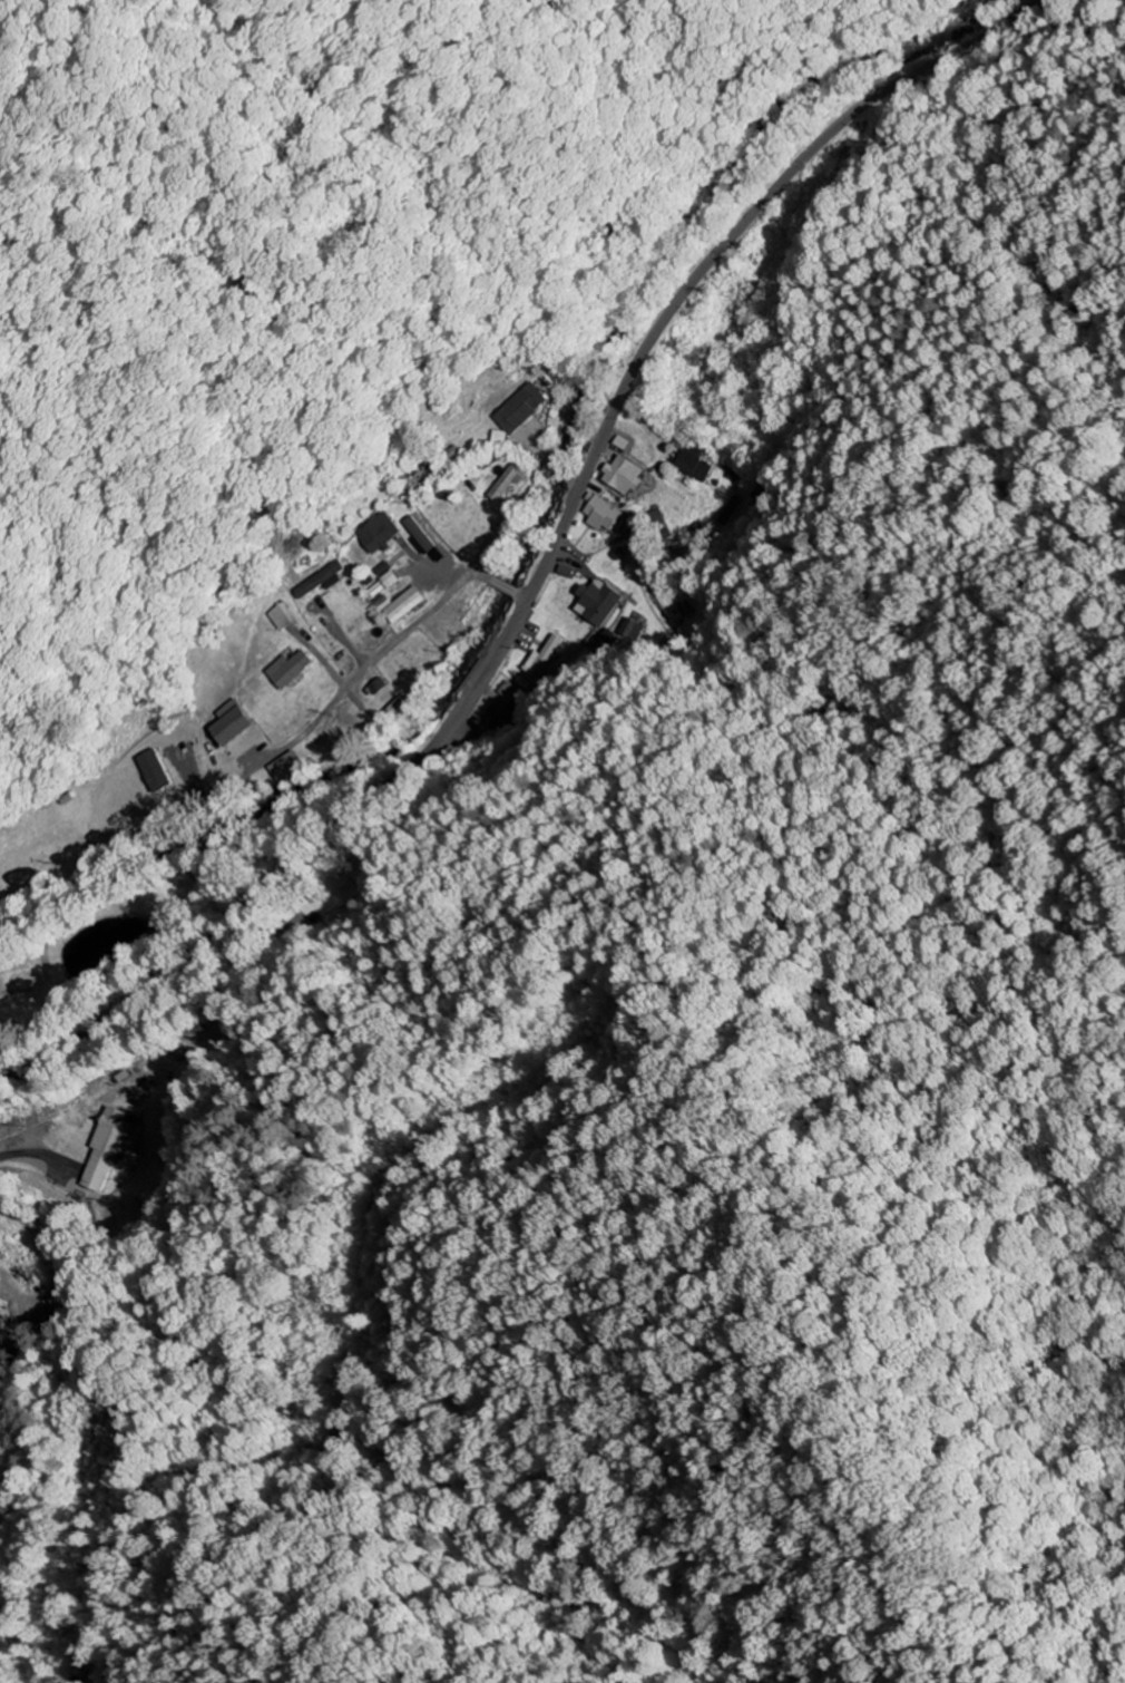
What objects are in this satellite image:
building: (515, 409)
building: (686, 464)
building: (617, 476)
building: (500, 483)
building: (757, 494)
building: (596, 514)
building: (371, 534)
building: (694, 534)
building: (412, 537)
road: (354, 541)
road: (541, 558)
building: (381, 576)
building: (312, 581)
building: (593, 604)
building: (400, 606)
building: (272, 619)
road: (405, 626)
building: (627, 631)
building: (534, 659)
building: (283, 670)
building: (495, 712)
building: (226, 724)
building: (283, 768)
building: (149, 771)
road: (555, 951)
road: (27, 1144)
building: (104, 1150)

